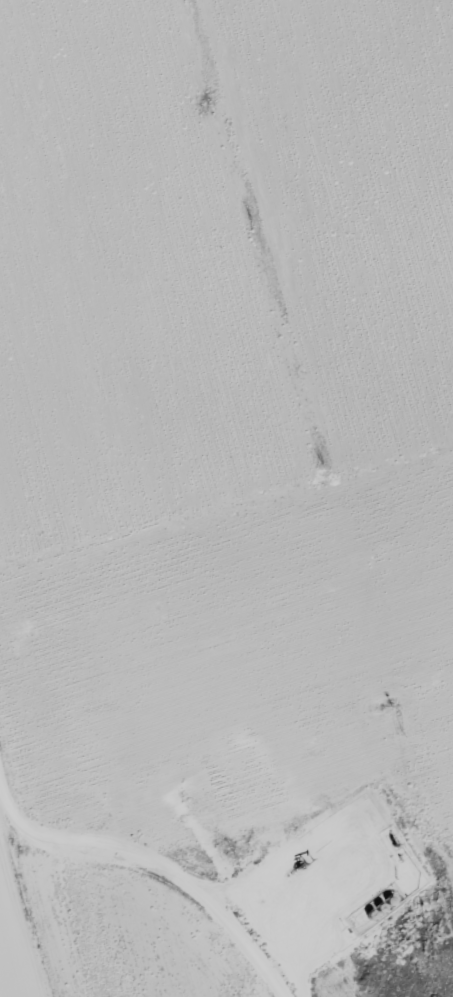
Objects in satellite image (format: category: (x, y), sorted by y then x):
road: (114, 896)

